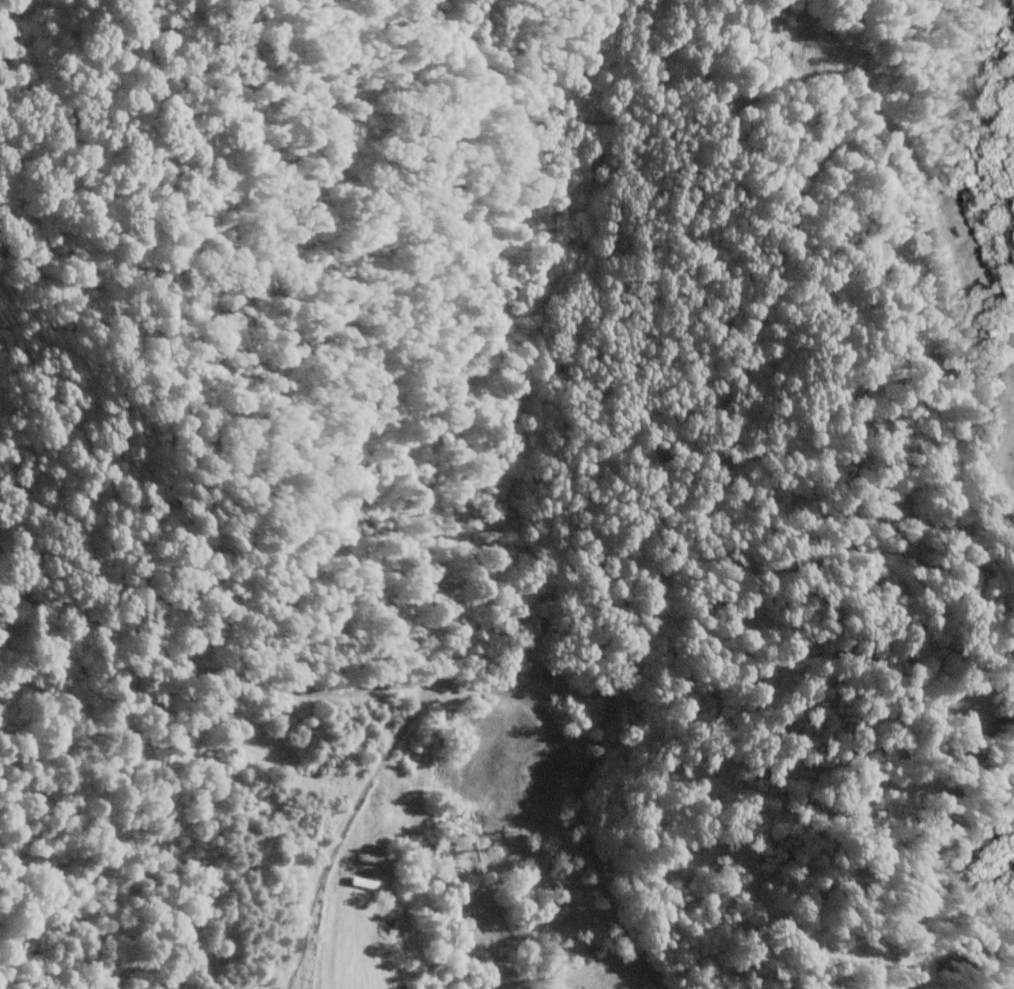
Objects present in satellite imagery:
road: (418, 682)

